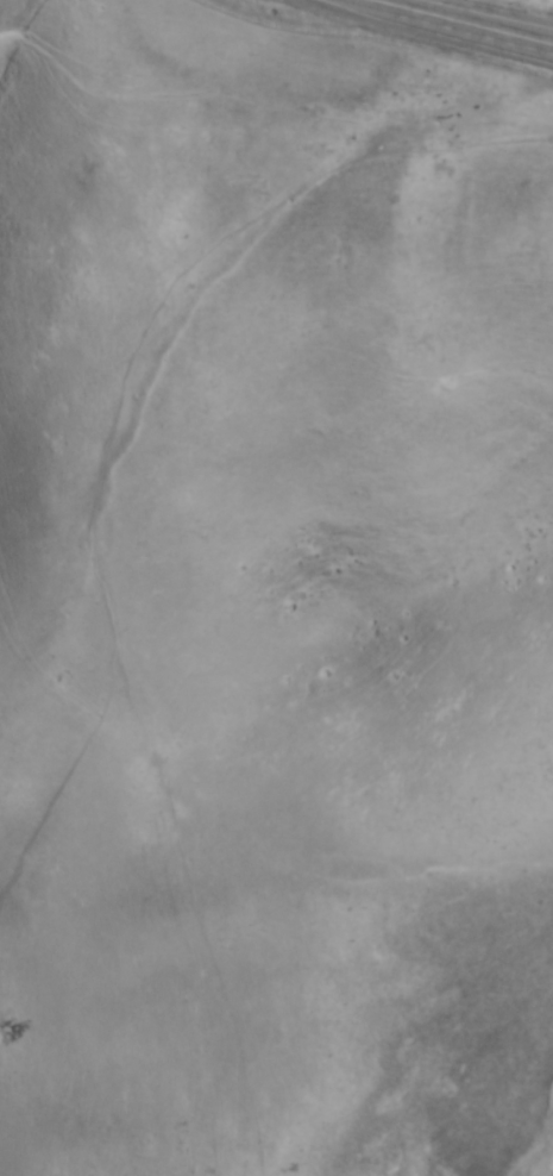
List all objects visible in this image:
road: (514, 8)

